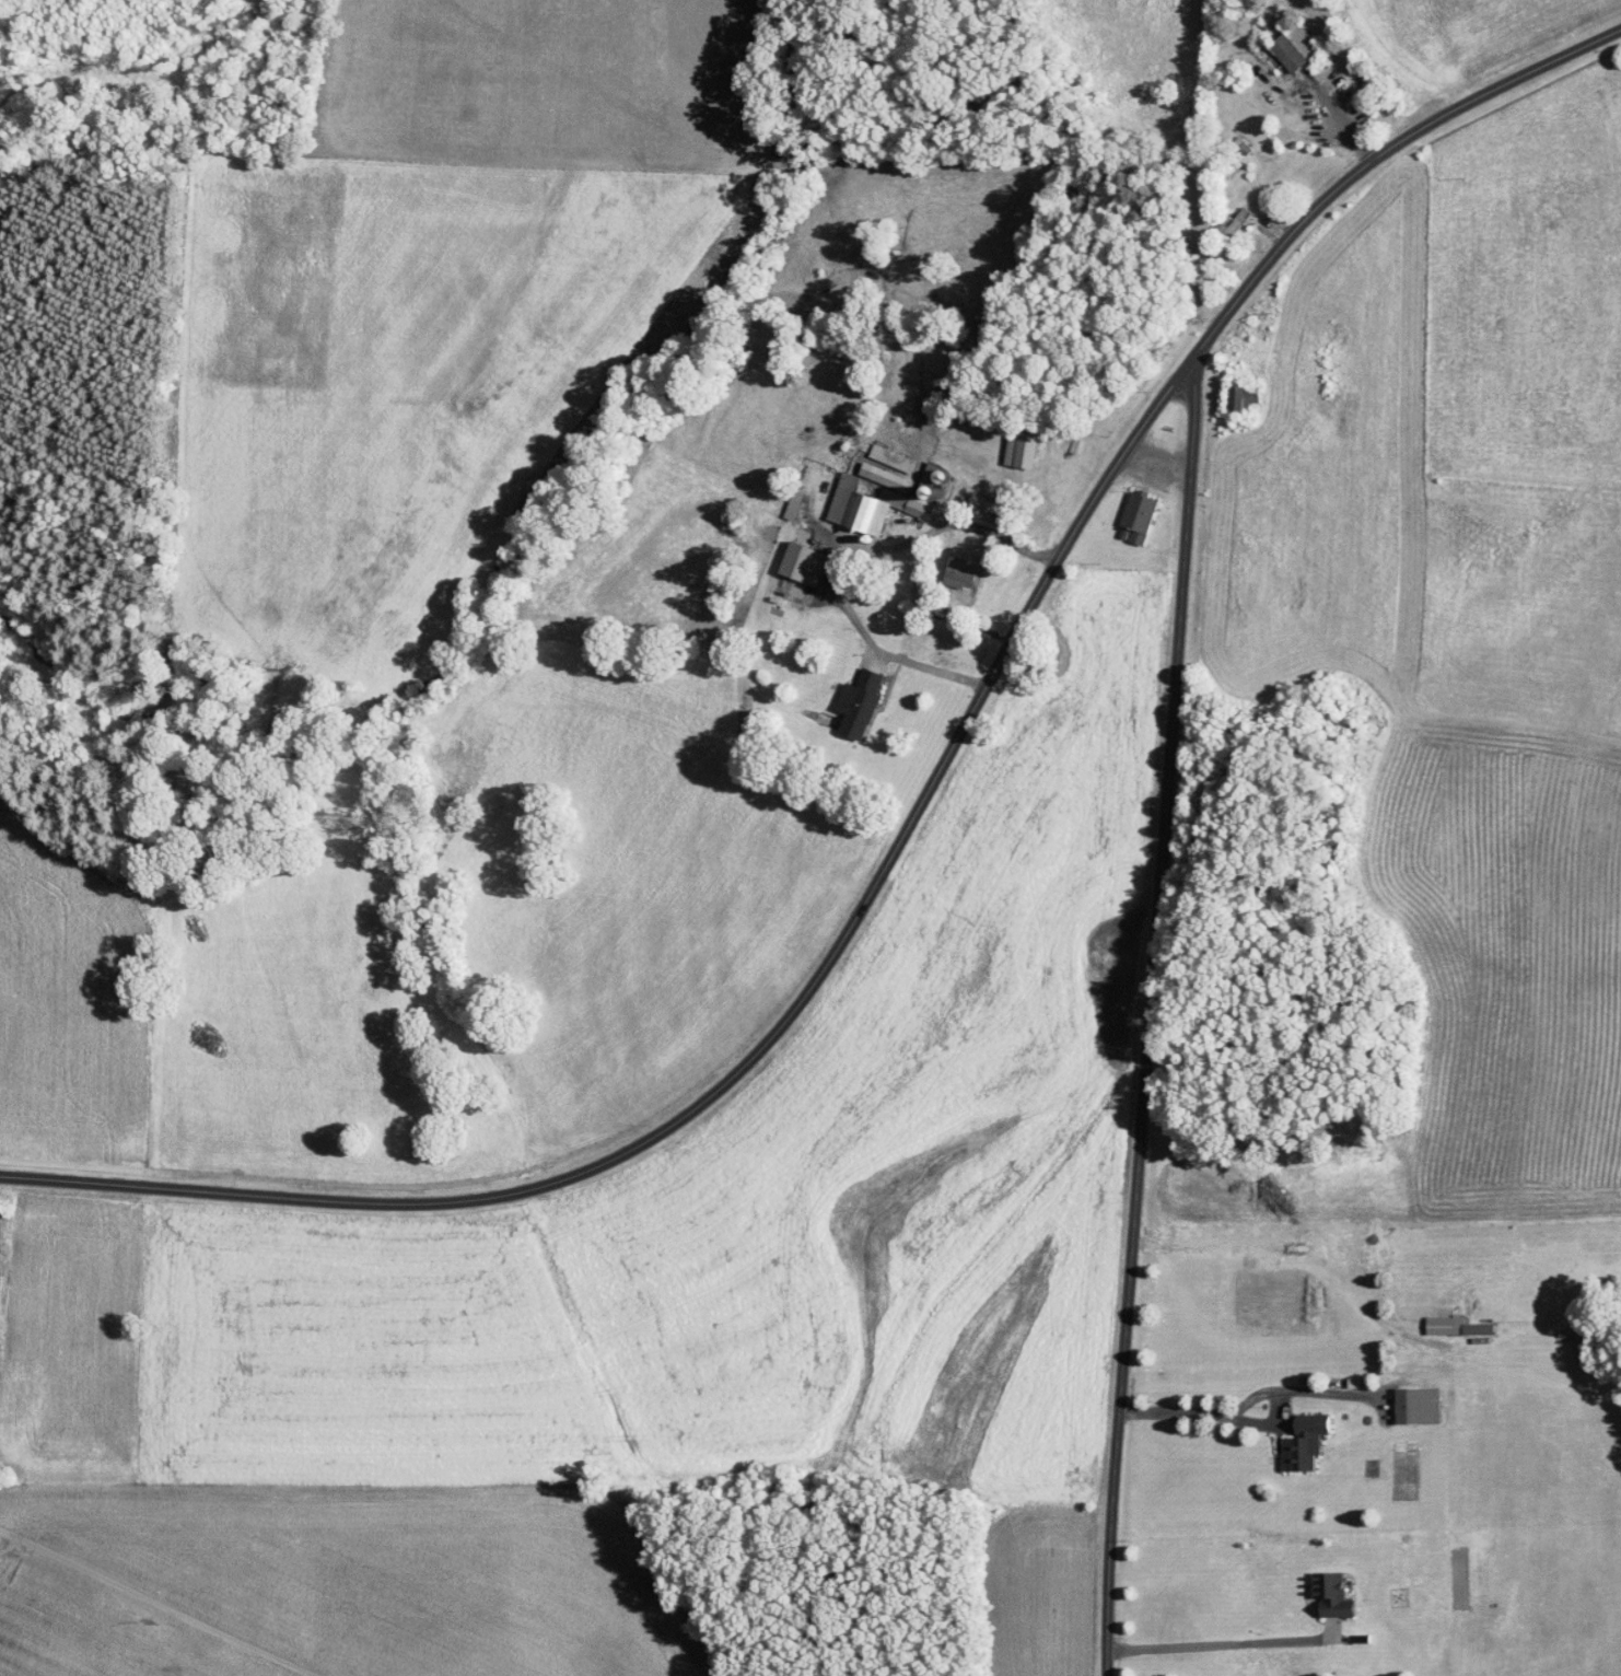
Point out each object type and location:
building: (1287, 53)
building: (1236, 398)
building: (890, 458)
building: (882, 476)
building: (879, 502)
building: (792, 504)
building: (987, 512)
building: (1138, 516)
road: (923, 551)
building: (803, 563)
building: (963, 574)
road: (926, 667)
building: (858, 703)
road: (911, 813)
road: (1148, 1013)
building: (1439, 1324)
building: (1478, 1328)
road: (1245, 1400)
building: (1418, 1404)
building: (1304, 1443)
building: (1331, 1594)
road: (1220, 1644)

